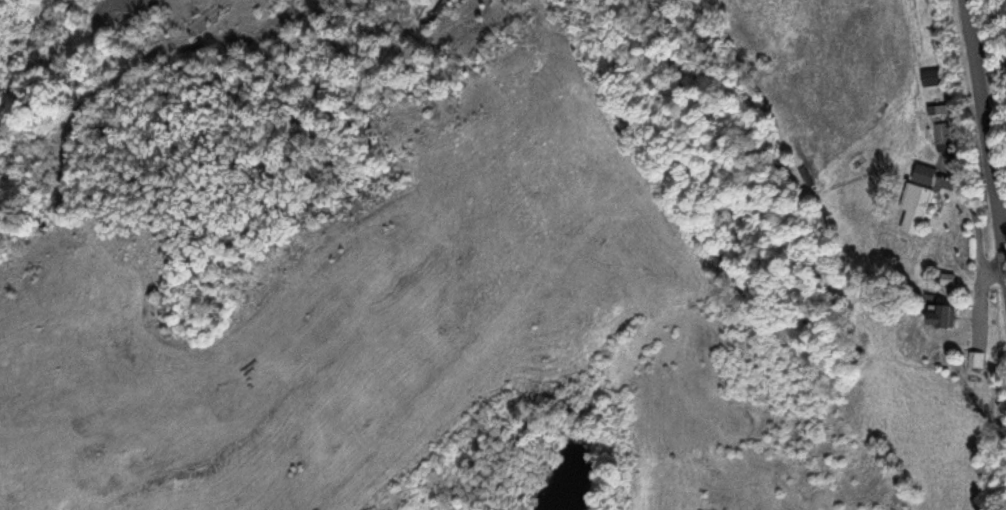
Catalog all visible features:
building: (938, 108)
road: (983, 125)
building: (923, 172)
building: (914, 205)
building: (941, 314)
building: (975, 359)

